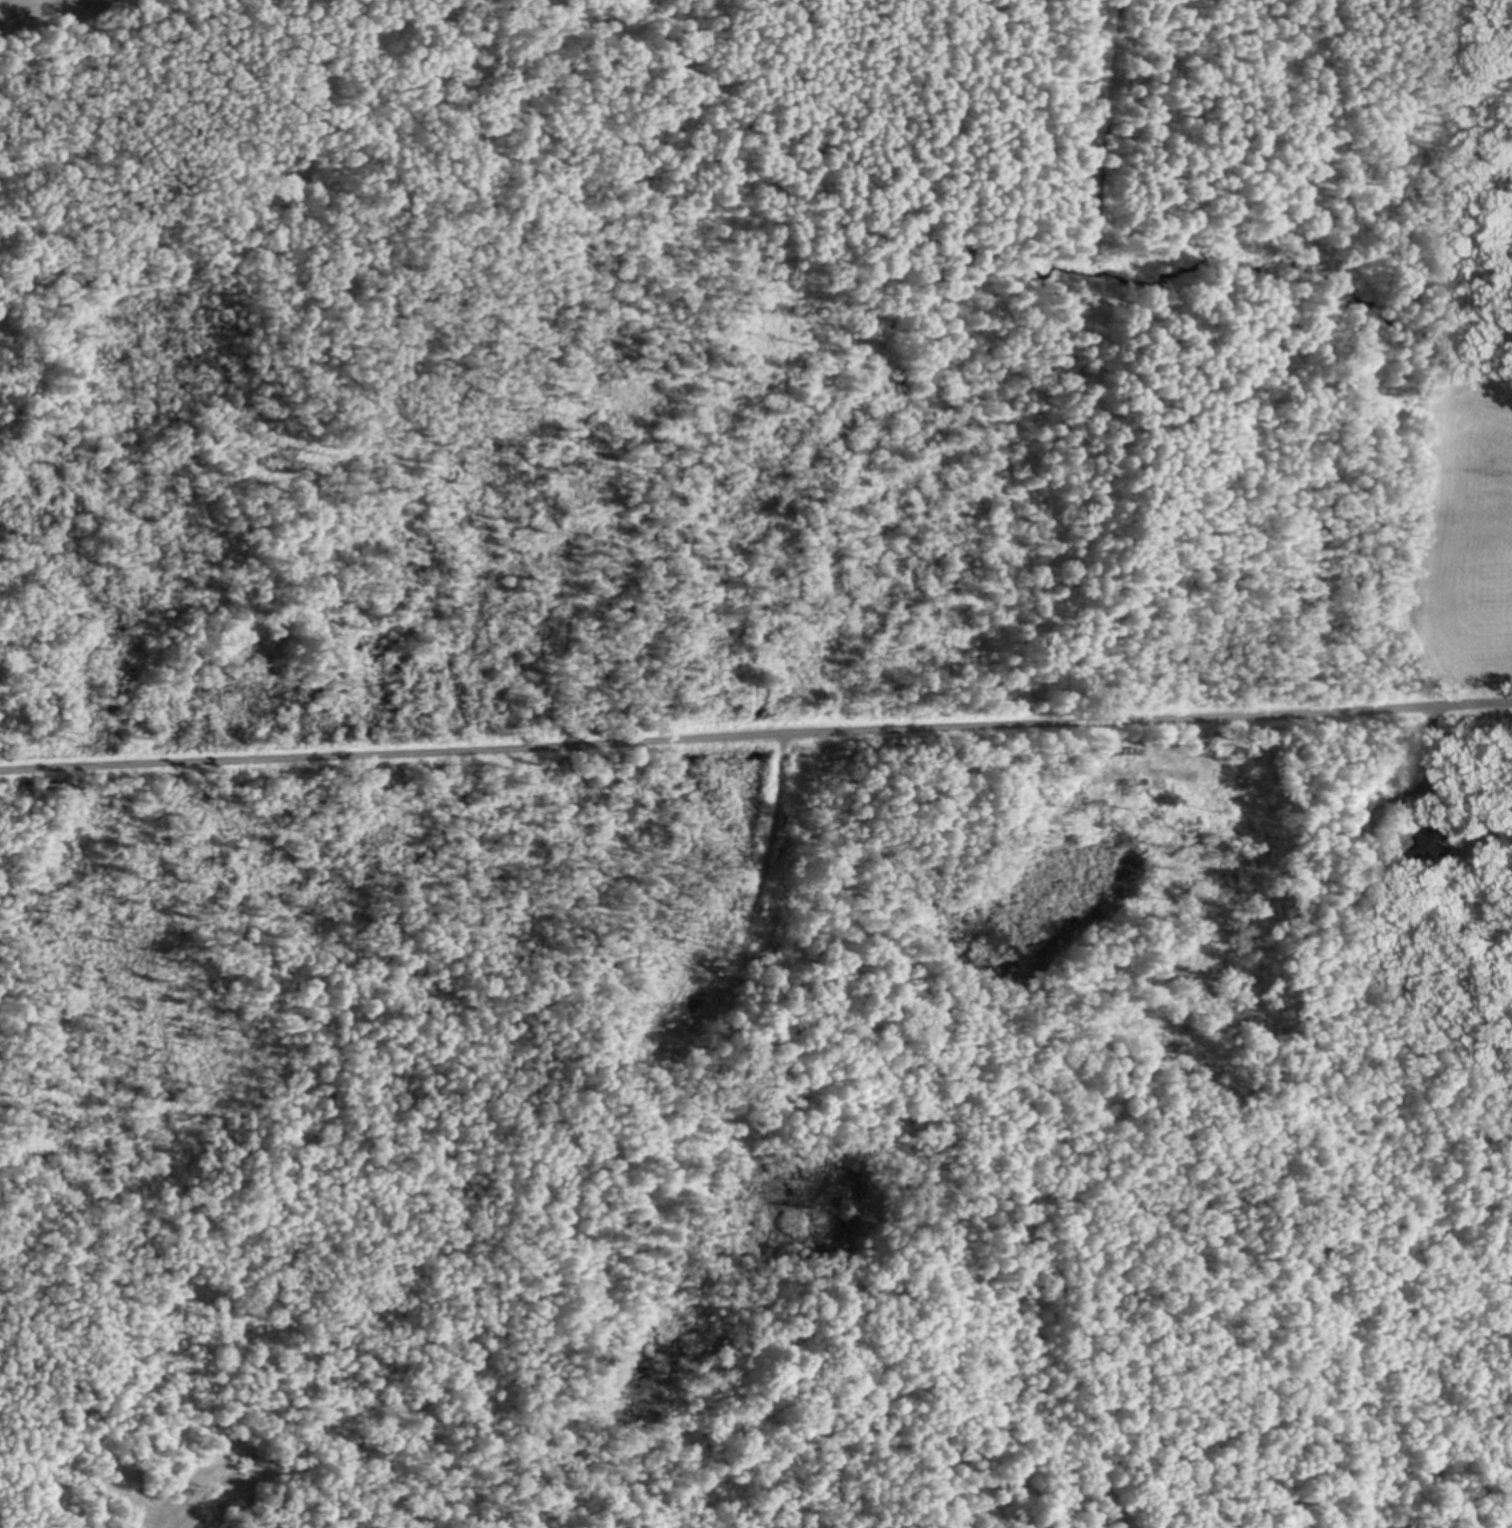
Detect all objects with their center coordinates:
road: (755, 733)
building: (1439, 847)
building: (1356, 864)

